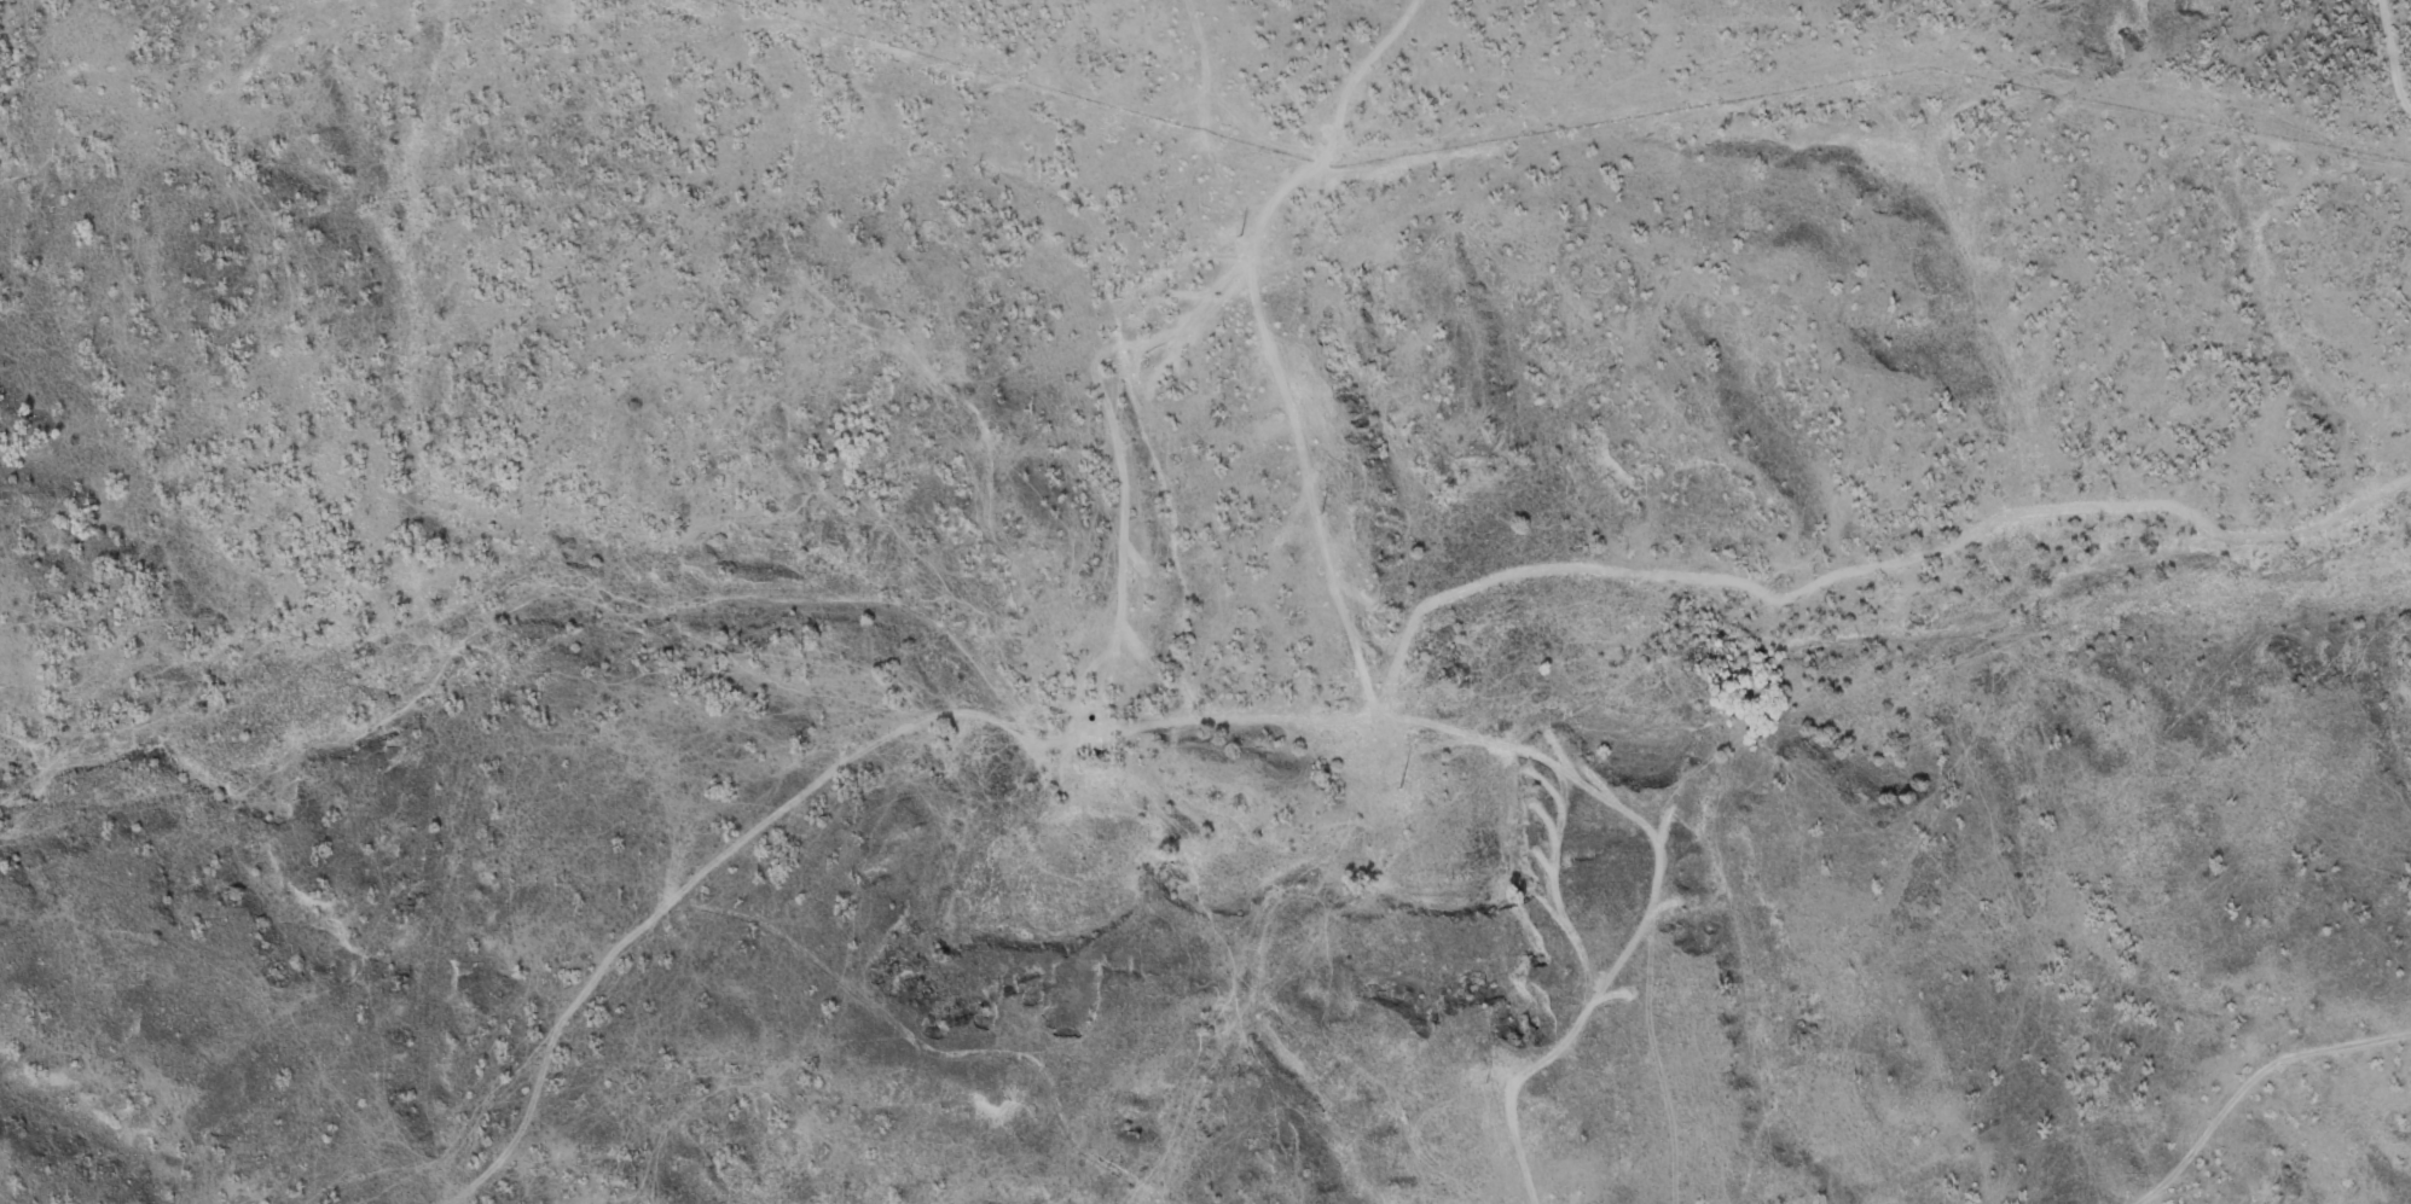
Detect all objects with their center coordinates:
road: (2393, 56)

